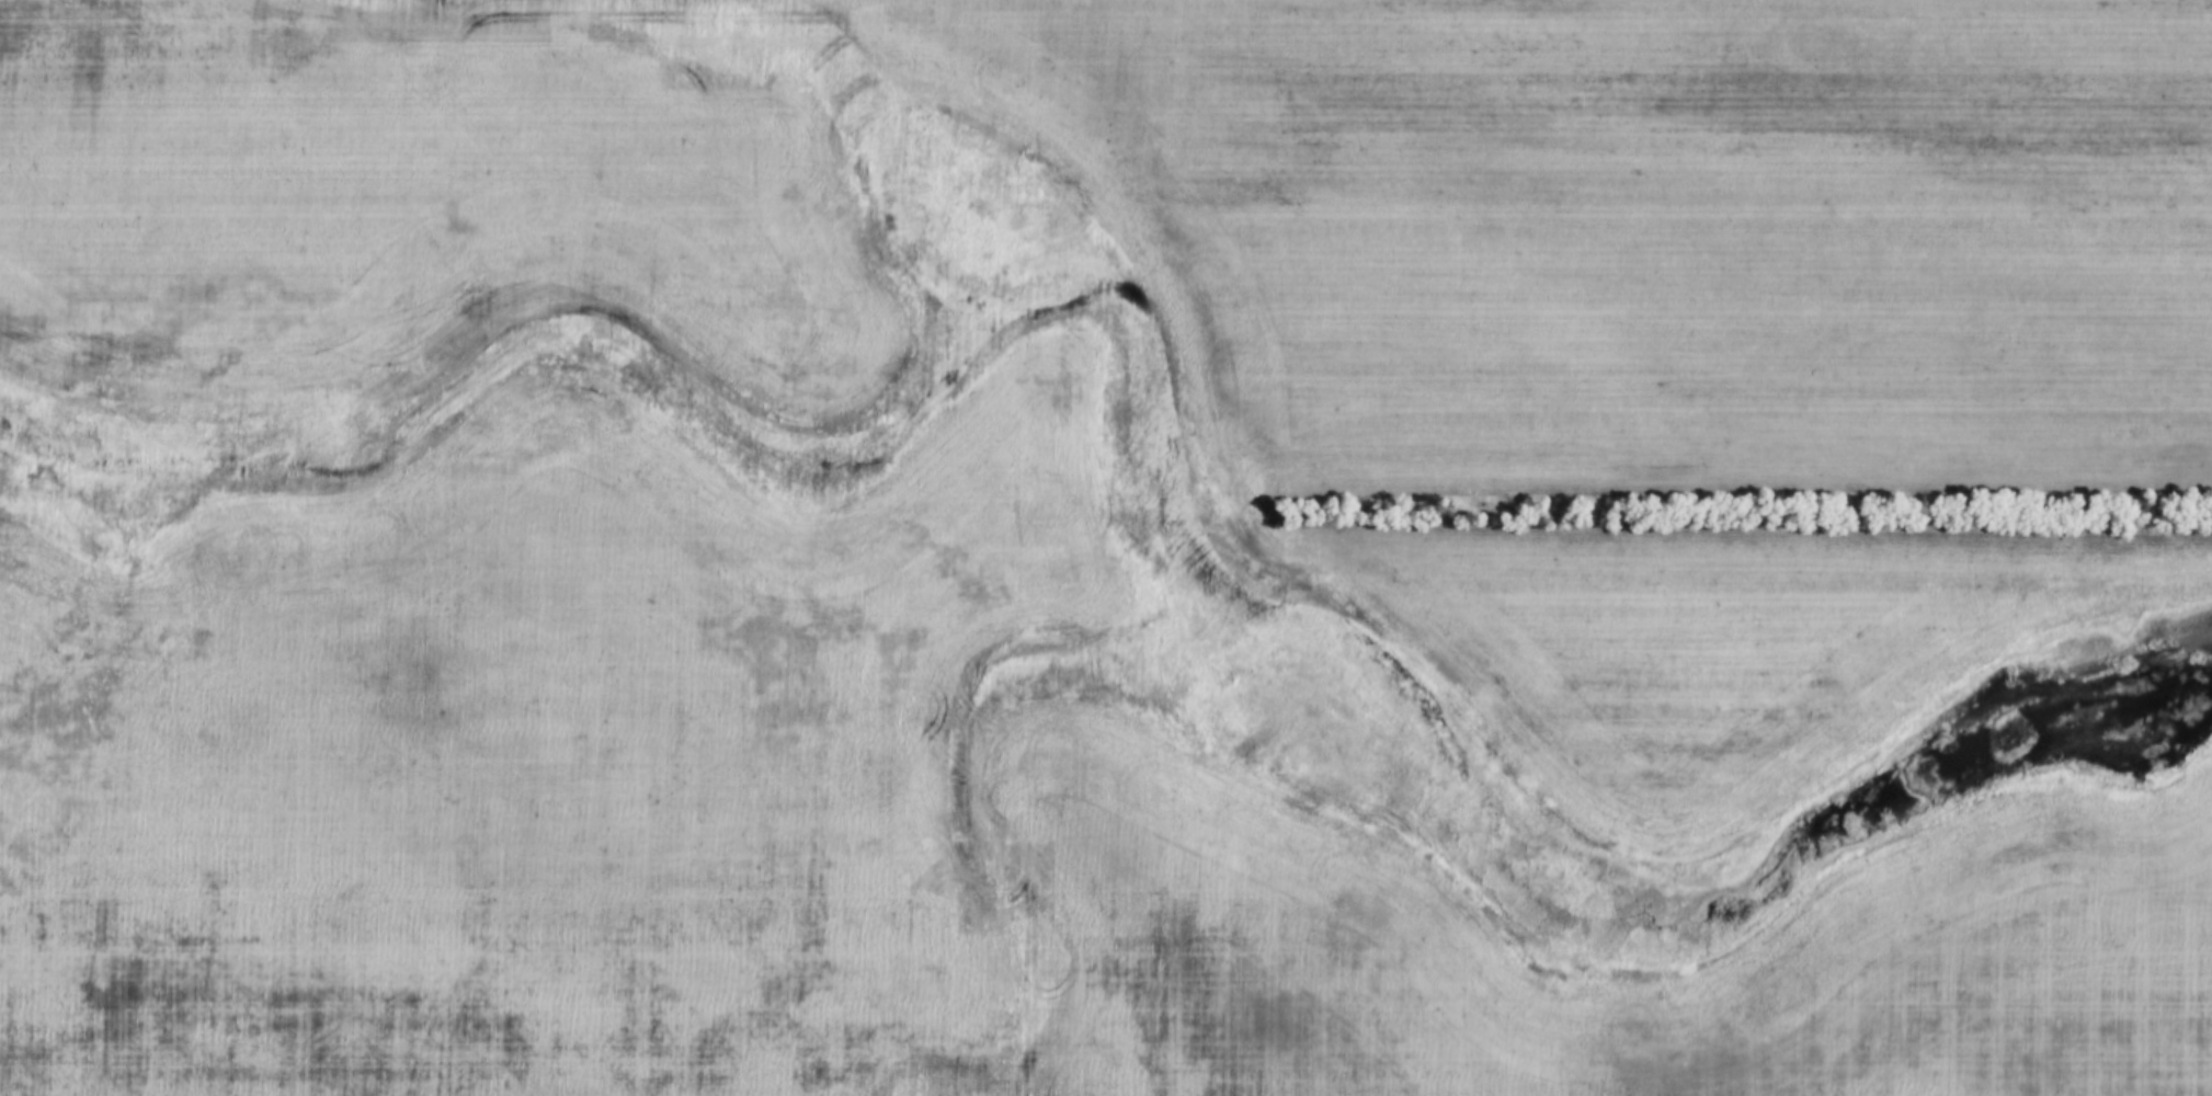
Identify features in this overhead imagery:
road: (1005, 886)

